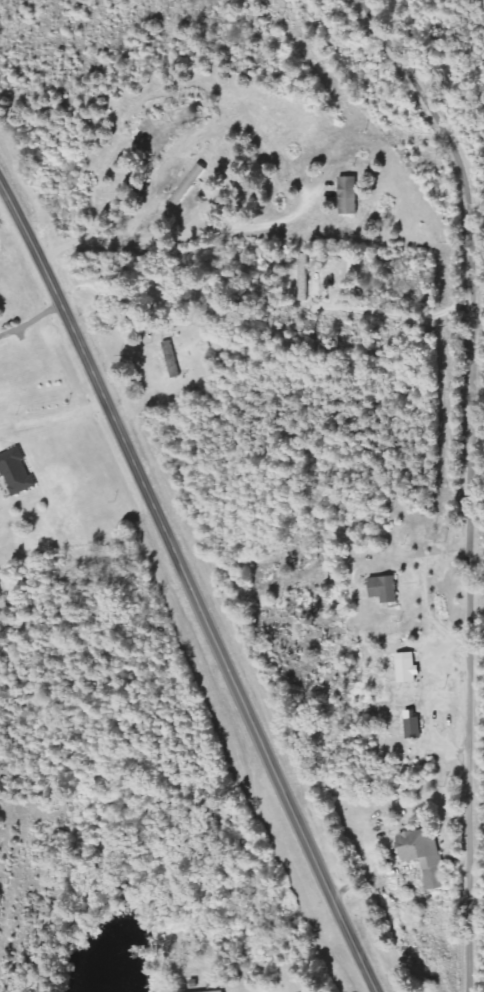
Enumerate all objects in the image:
building: (189, 185)
building: (349, 196)
building: (16, 472)
road: (424, 485)
road: (192, 583)
building: (385, 589)
building: (408, 671)
building: (413, 725)
building: (425, 856)
road: (421, 957)
building: (221, 991)

